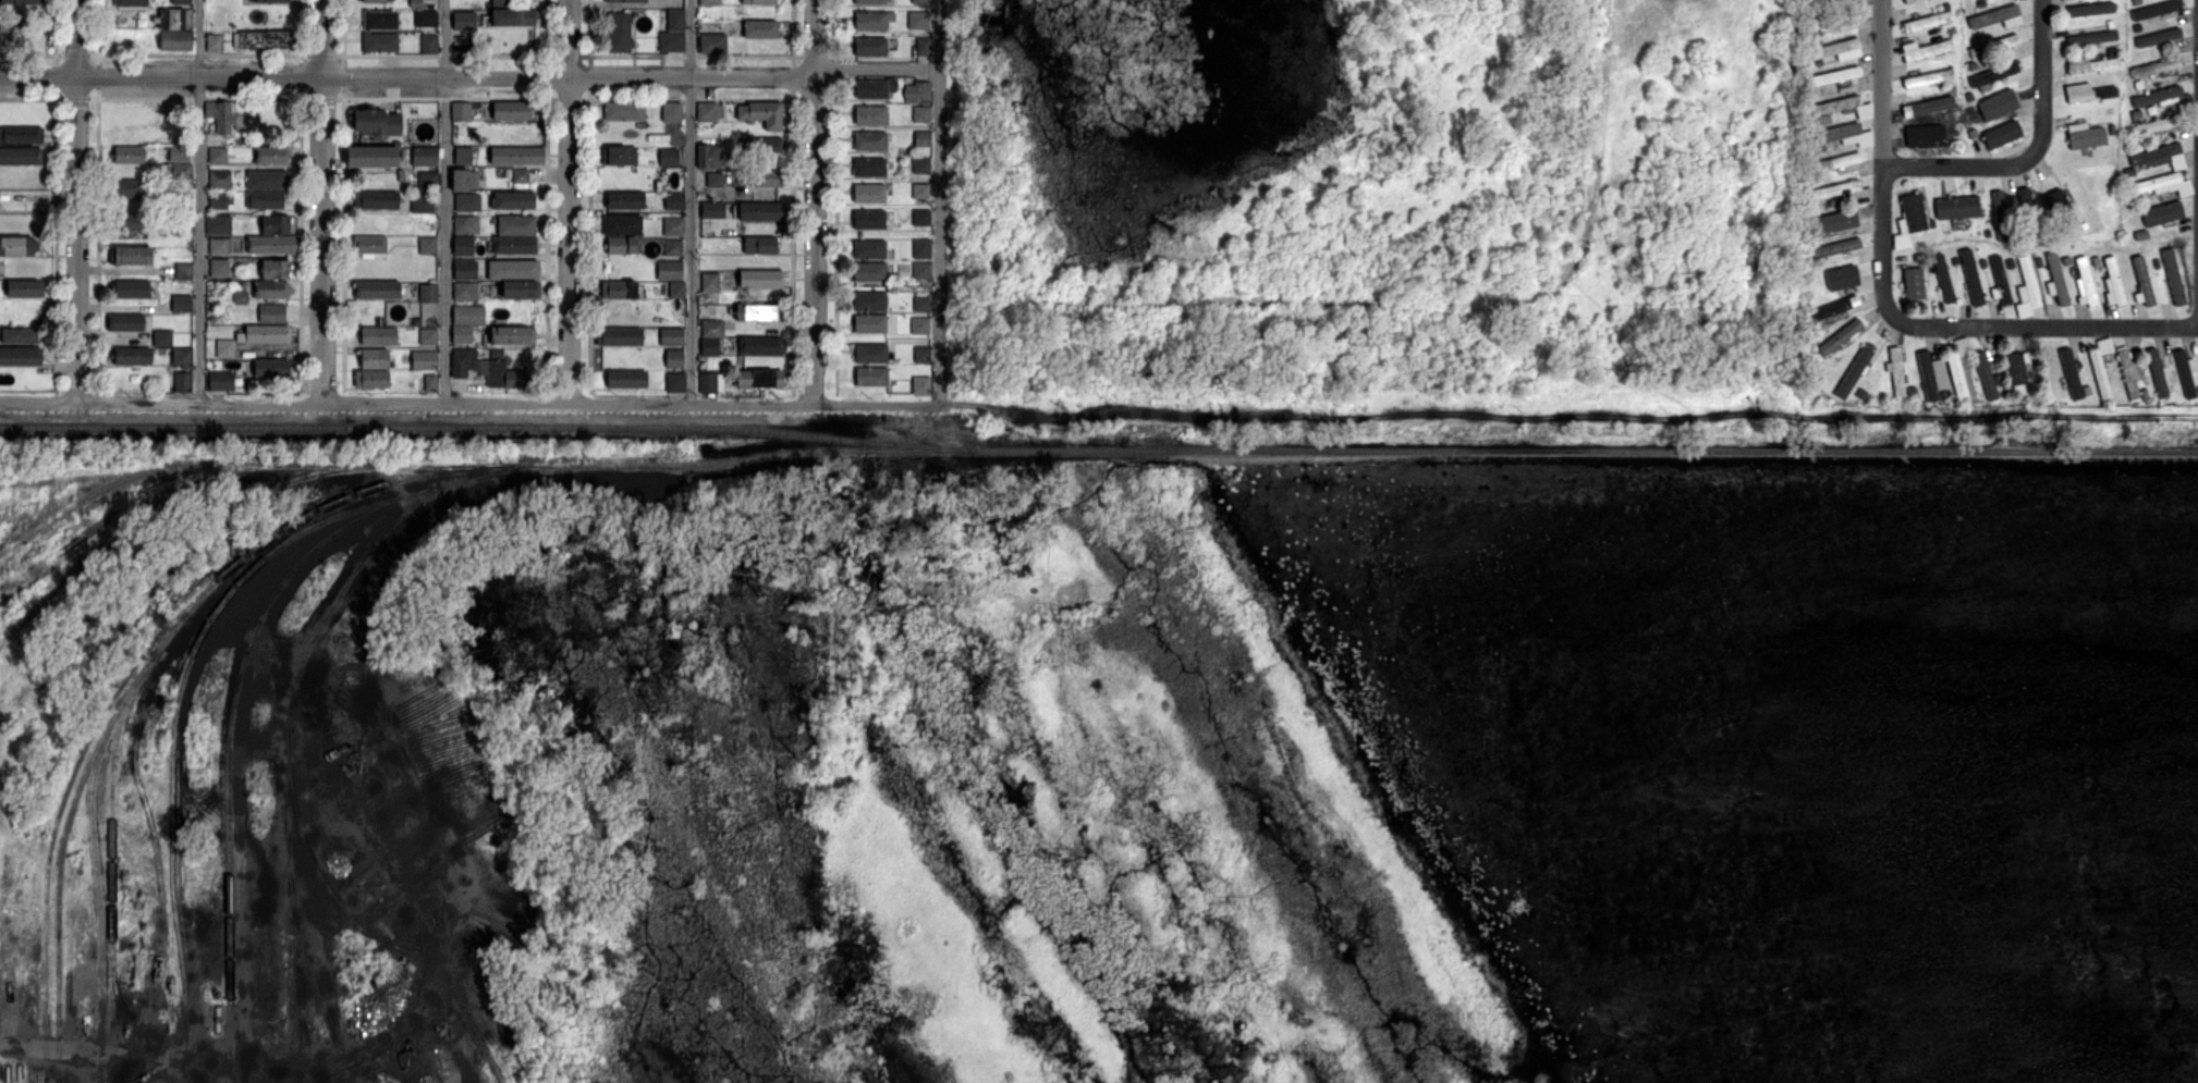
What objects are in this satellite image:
building: (1814, 0)
building: (273, 1)
building: (375, 1)
building: (627, 1)
building: (760, 1)
building: (1910, 1)
building: (22, 2)
building: (182, 2)
building: (711, 2)
building: (870, 2)
building: (920, 2)
building: (2135, 2)
building: (132, 3)
building: (501, 3)
building: (1979, 3)
building: (1945, 7)
building: (2089, 8)
building: (1807, 10)
building: (2154, 10)
building: (461, 15)
building: (1992, 16)
building: (171, 19)
building: (427, 19)
building: (514, 19)
building: (1833, 19)
building: (380, 20)
building: (676, 20)
building: (871, 21)
building: (920, 22)
building: (1927, 22)
building: (17, 23)
building: (2110, 25)
building: (2136, 28)
building: (761, 29)
building: (1950, 30)
building: (457, 33)
building: (619, 33)
building: (1816, 34)
road: (813, 37)
building: (1975, 37)
building: (2090, 38)
building: (2156, 38)
building: (176, 40)
building: (268, 41)
building: (671, 41)
building: (380, 42)
building: (216, 44)
building: (429, 44)
building: (712, 44)
building: (1993, 46)
building: (871, 47)
building: (921, 47)
building: (1833, 49)
building: (2110, 49)
building: (1927, 50)
building: (1949, 62)
building: (1818, 63)
road: (876, 66)
building: (1970, 66)
building: (2091, 66)
building: (2154, 67)
road: (406, 75)
building: (1992, 75)
building: (1833, 76)
building: (1927, 79)
building: (2137, 85)
building: (875, 88)
building: (1951, 89)
building: (918, 91)
building: (1815, 93)
building: (2090, 95)
building: (1968, 97)
building: (2156, 97)
building: (1992, 103)
building: (1833, 106)
building: (1927, 108)
building: (130, 110)
building: (512, 110)
building: (624, 111)
building: (711, 111)
building: (464, 112)
building: (672, 112)
building: (2138, 112)
building: (762, 114)
building: (921, 114)
building: (871, 115)
building: (222, 116)
building: (375, 122)
building: (1815, 122)
building: (1946, 124)
building: (2156, 125)
building: (2111, 130)
building: (122, 134)
building: (1834, 134)
building: (1971, 134)
building: (22, 135)
building: (2001, 135)
building: (1927, 138)
building: (2085, 138)
building: (923, 139)
building: (870, 141)
building: (766, 147)
building: (1818, 148)
road: (2032, 152)
building: (425, 153)
building: (179, 155)
building: (272, 155)
building: (465, 155)
building: (620, 155)
building: (20, 156)
building: (130, 156)
building: (218, 156)
building: (517, 156)
building: (709, 156)
building: (2153, 156)
building: (371, 157)
building: (669, 157)
building: (1834, 162)
building: (921, 165)
building: (869, 167)
building: (179, 172)
building: (2128, 172)
building: (402, 176)
building: (518, 176)
building: (220, 179)
building: (765, 179)
building: (267, 180)
building: (465, 180)
building: (427, 181)
building: (715, 181)
building: (1814, 181)
building: (2161, 185)
building: (130, 188)
building: (920, 190)
building: (1842, 190)
building: (869, 194)
building: (2024, 198)
road: (77, 199)
road: (198, 200)
building: (220, 200)
building: (265, 200)
road: (322, 200)
building: (377, 200)
road: (445, 200)
building: (513, 200)
road: (571, 200)
building: (625, 200)
building: (674, 200)
road: (689, 201)
road: (939, 201)
building: (2132, 201)
building: (467, 202)
building: (1831, 202)
building: (423, 205)
building: (180, 206)
building: (1959, 207)
building: (718, 209)
building: (2062, 210)
building: (761, 211)
building: (1912, 212)
building: (1999, 213)
building: (2161, 213)
building: (921, 218)
building: (869, 220)
building: (1835, 220)
building: (124, 222)
building: (466, 224)
building: (1931, 224)
building: (220, 225)
building: (277, 225)
building: (516, 225)
building: (623, 225)
building: (674, 227)
building: (1817, 236)
building: (2011, 238)
road: (814, 239)
building: (271, 245)
building: (515, 245)
building: (760, 245)
building: (17, 246)
building: (218, 246)
building: (369, 246)
building: (428, 246)
building: (463, 246)
building: (621, 246)
building: (673, 247)
building: (921, 248)
building: (1834, 248)
building: (869, 249)
building: (131, 256)
building: (1915, 257)
building: (2065, 260)
building: (2095, 261)
building: (2038, 262)
building: (1981, 263)
building: (2008, 263)
building: (2153, 263)
building: (220, 268)
building: (277, 270)
building: (466, 270)
building: (514, 270)
building: (670, 271)
building: (923, 271)
building: (185, 272)
building: (870, 272)
building: (1969, 275)
building: (1841, 278)
building: (1942, 278)
building: (761, 279)
building: (2056, 279)
building: (2113, 280)
building: (1807, 281)
building: (2000, 281)
building: (2085, 281)
building: (2142, 281)
building: (2172, 281)
building: (2028, 282)
building: (711, 283)
building: (1914, 284)
building: (25, 288)
building: (131, 290)
building: (271, 290)
building: (520, 290)
building: (619, 290)
building: (677, 290)
building: (378, 291)
building: (463, 292)
building: (429, 294)
building: (869, 301)
building: (181, 304)
building: (923, 305)
building: (1834, 308)
road: (1889, 311)
building: (469, 312)
building: (759, 312)
building: (271, 315)
building: (126, 322)
building: (870, 324)
building: (920, 325)
building: (713, 329)
building: (462, 332)
building: (265, 334)
building: (21, 335)
building: (512, 335)
building: (379, 336)
building: (429, 336)
building: (622, 336)
building: (672, 336)
building: (1839, 336)
building: (161, 337)
building: (175, 337)
building: (761, 345)
building: (710, 347)
building: (2105, 347)
building: (225, 348)
building: (924, 352)
building: (871, 354)
building: (488, 355)
building: (20, 357)
building: (132, 357)
building: (184, 358)
building: (424, 358)
building: (375, 359)
building: (674, 359)
building: (460, 362)
building: (271, 368)
building: (2014, 368)
building: (1808, 369)
building: (1855, 369)
building: (1895, 370)
building: (2156, 371)
building: (2184, 371)
building: (2069, 372)
building: (2126, 372)
building: (2098, 373)
building: (503, 374)
building: (1930, 374)
building: (1983, 374)
building: (872, 377)
building: (1959, 377)
building: (627, 379)
building: (760, 379)
building: (371, 380)
building: (222, 381)
building: (431, 382)
building: (675, 382)
building: (180, 383)
building: (711, 383)
building: (921, 385)
building: (1841, 392)
building: (1942, 394)
building: (2041, 396)
building: (2144, 396)
road: (39, 398)
road: (509, 402)
railway: (345, 427)
railway: (833, 436)
railway: (1587, 452)
railway: (474, 464)
railway: (133, 512)
railway: (76, 569)
railway: (32, 626)
railway: (199, 645)
railway: (136, 665)
railway: (290, 733)
railway: (231, 737)
railway: (76, 798)
railway: (112, 863)
railway: (98, 889)
railway: (364, 927)
railway: (307, 963)
building: (379, 996)
building: (346, 1006)
railway: (296, 1022)

